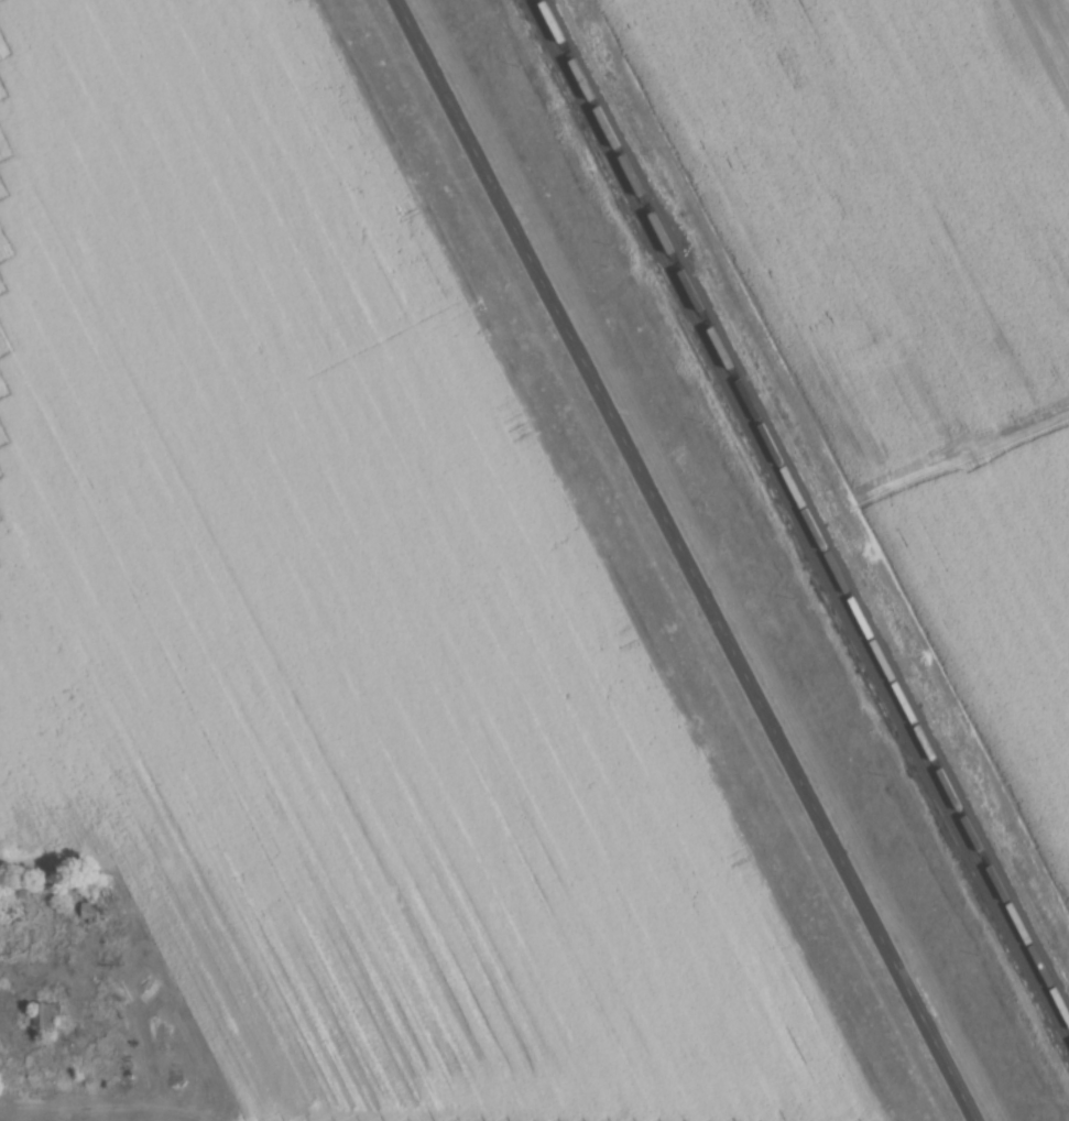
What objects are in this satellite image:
crop: (913, 304)
building: (794, 342)
building: (857, 470)
railway: (805, 509)
railway: (799, 520)
road: (688, 560)
crop: (339, 623)
building: (1038, 823)
building: (45, 1013)
building: (273, 1104)

